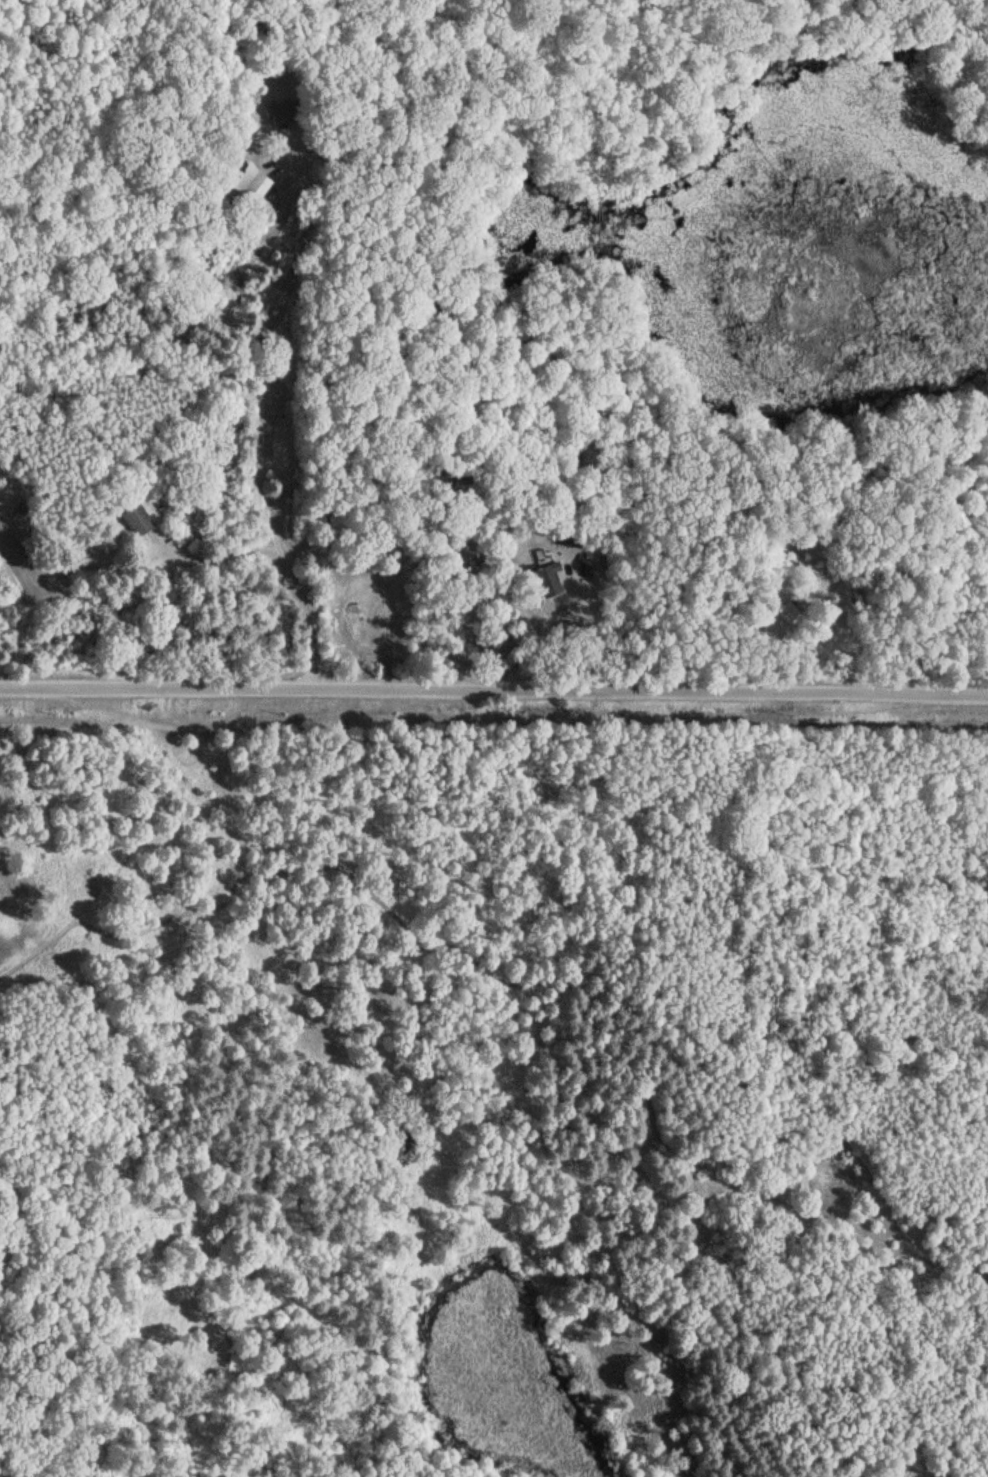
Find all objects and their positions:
building: (251, 185)
building: (136, 523)
building: (547, 583)
building: (787, 614)
road: (494, 694)

